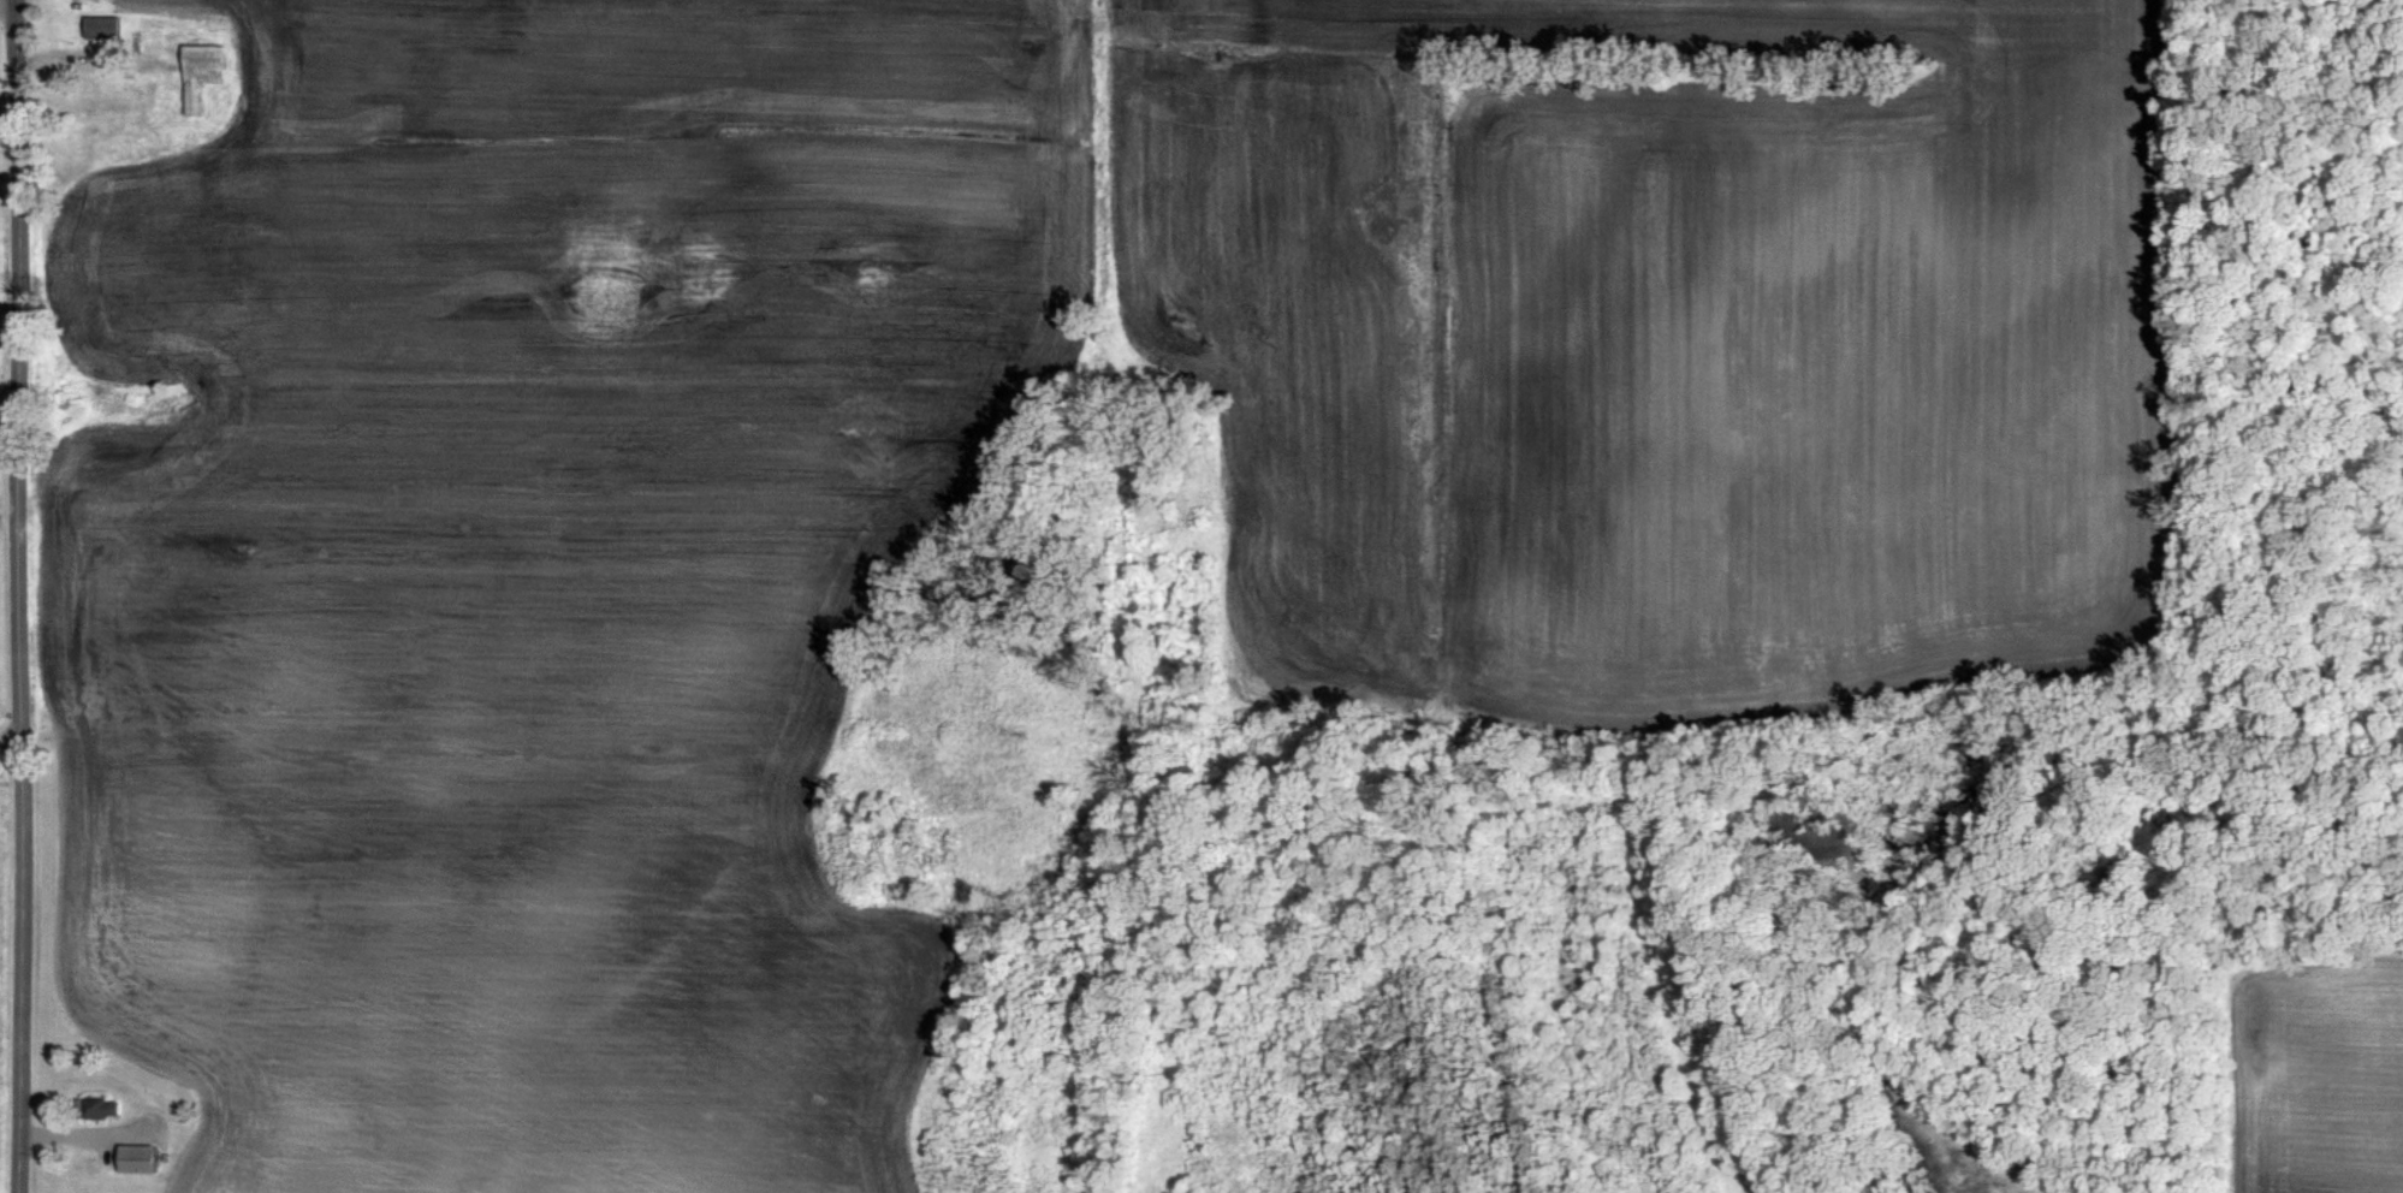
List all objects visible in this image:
building: (105, 28)
building: (203, 73)
road: (22, 596)
road: (588, 744)
building: (100, 1106)
building: (137, 1157)

